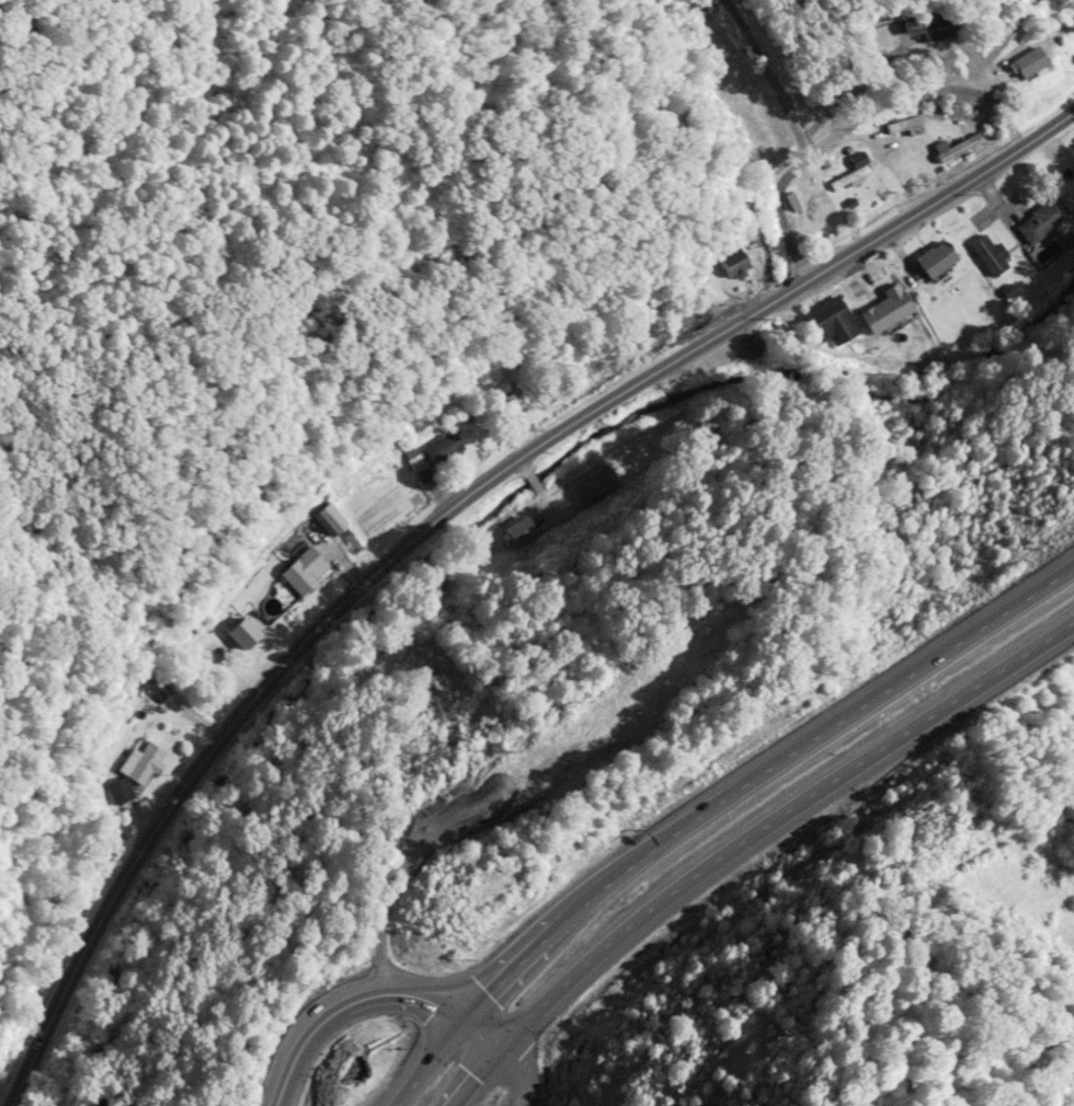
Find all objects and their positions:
building: (1069, 18)
building: (936, 27)
building: (1031, 62)
building: (738, 95)
road: (880, 99)
building: (903, 127)
road: (801, 134)
building: (752, 147)
building: (957, 148)
building: (815, 211)
building: (1042, 221)
building: (989, 252)
building: (936, 258)
building: (734, 262)
building: (887, 309)
building: (830, 324)
road: (272, 438)
building: (444, 448)
road: (550, 471)
building: (593, 486)
road: (443, 510)
building: (328, 521)
building: (516, 533)
building: (304, 572)
building: (118, 791)
road: (712, 808)
road: (749, 843)
road: (368, 999)
traffic signals: (460, 1026)
traffic signals: (498, 1060)
road: (516, 1079)

